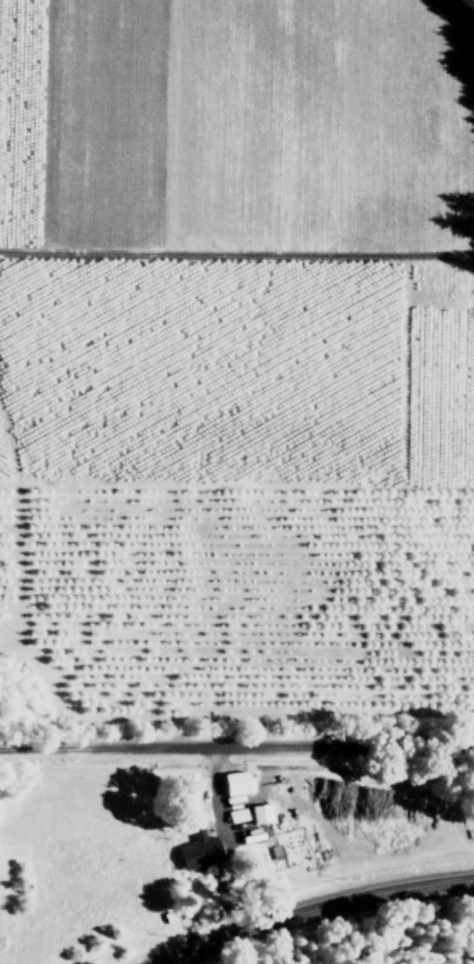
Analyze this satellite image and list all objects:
road: (466, 20)
road: (236, 255)
crop: (235, 481)
road: (237, 747)
building: (236, 782)
building: (261, 812)
building: (237, 814)
building: (199, 849)
road: (312, 907)

